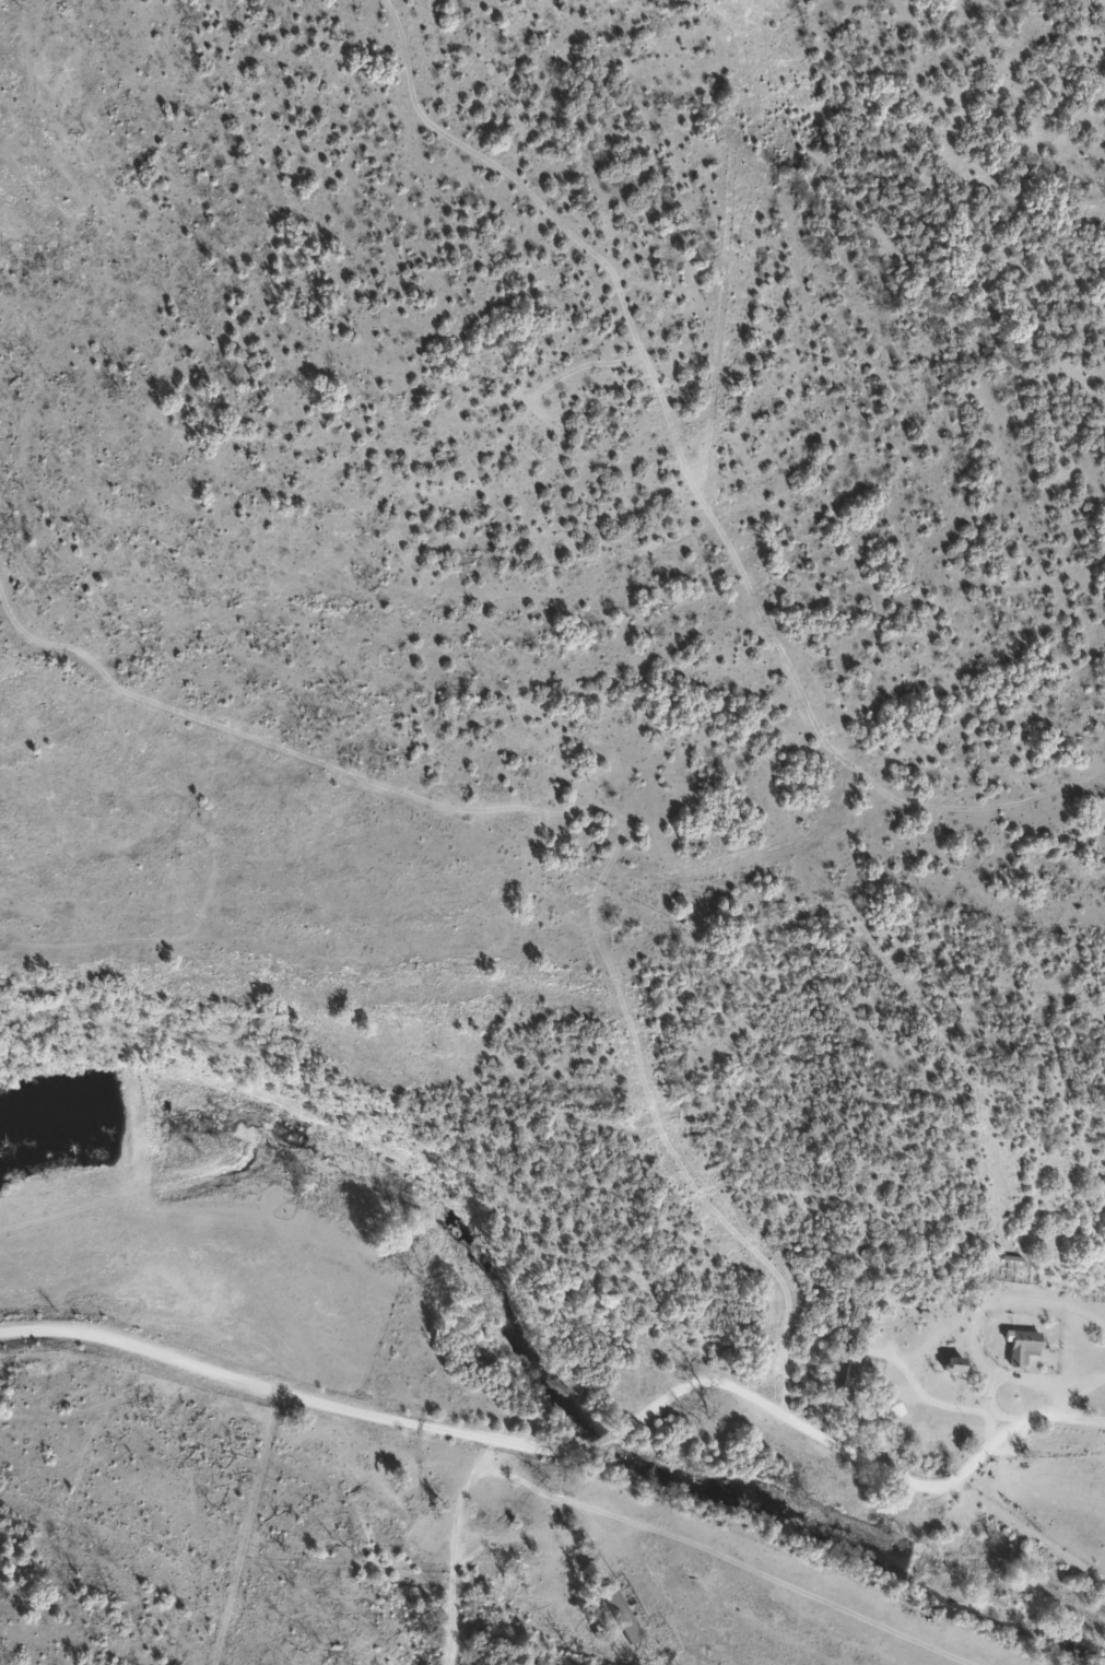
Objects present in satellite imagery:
building: (1024, 1347)
building: (959, 1367)
building: (851, 1379)
building: (894, 1408)
road: (95, 1462)
road: (559, 1490)
road: (473, 1578)
building: (624, 1617)

